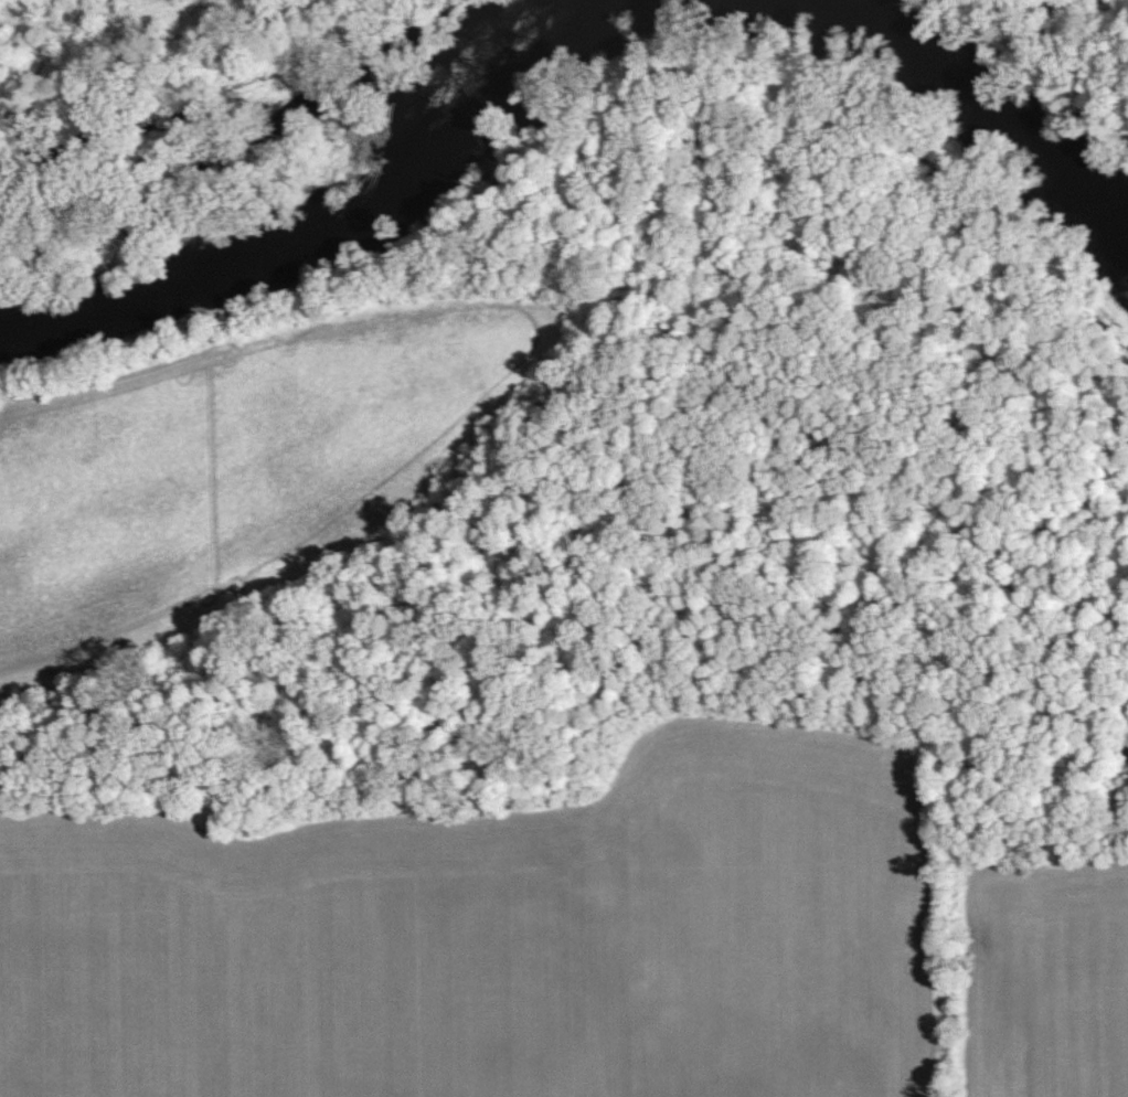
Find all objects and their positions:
river: (940, 89)
river: (364, 210)

